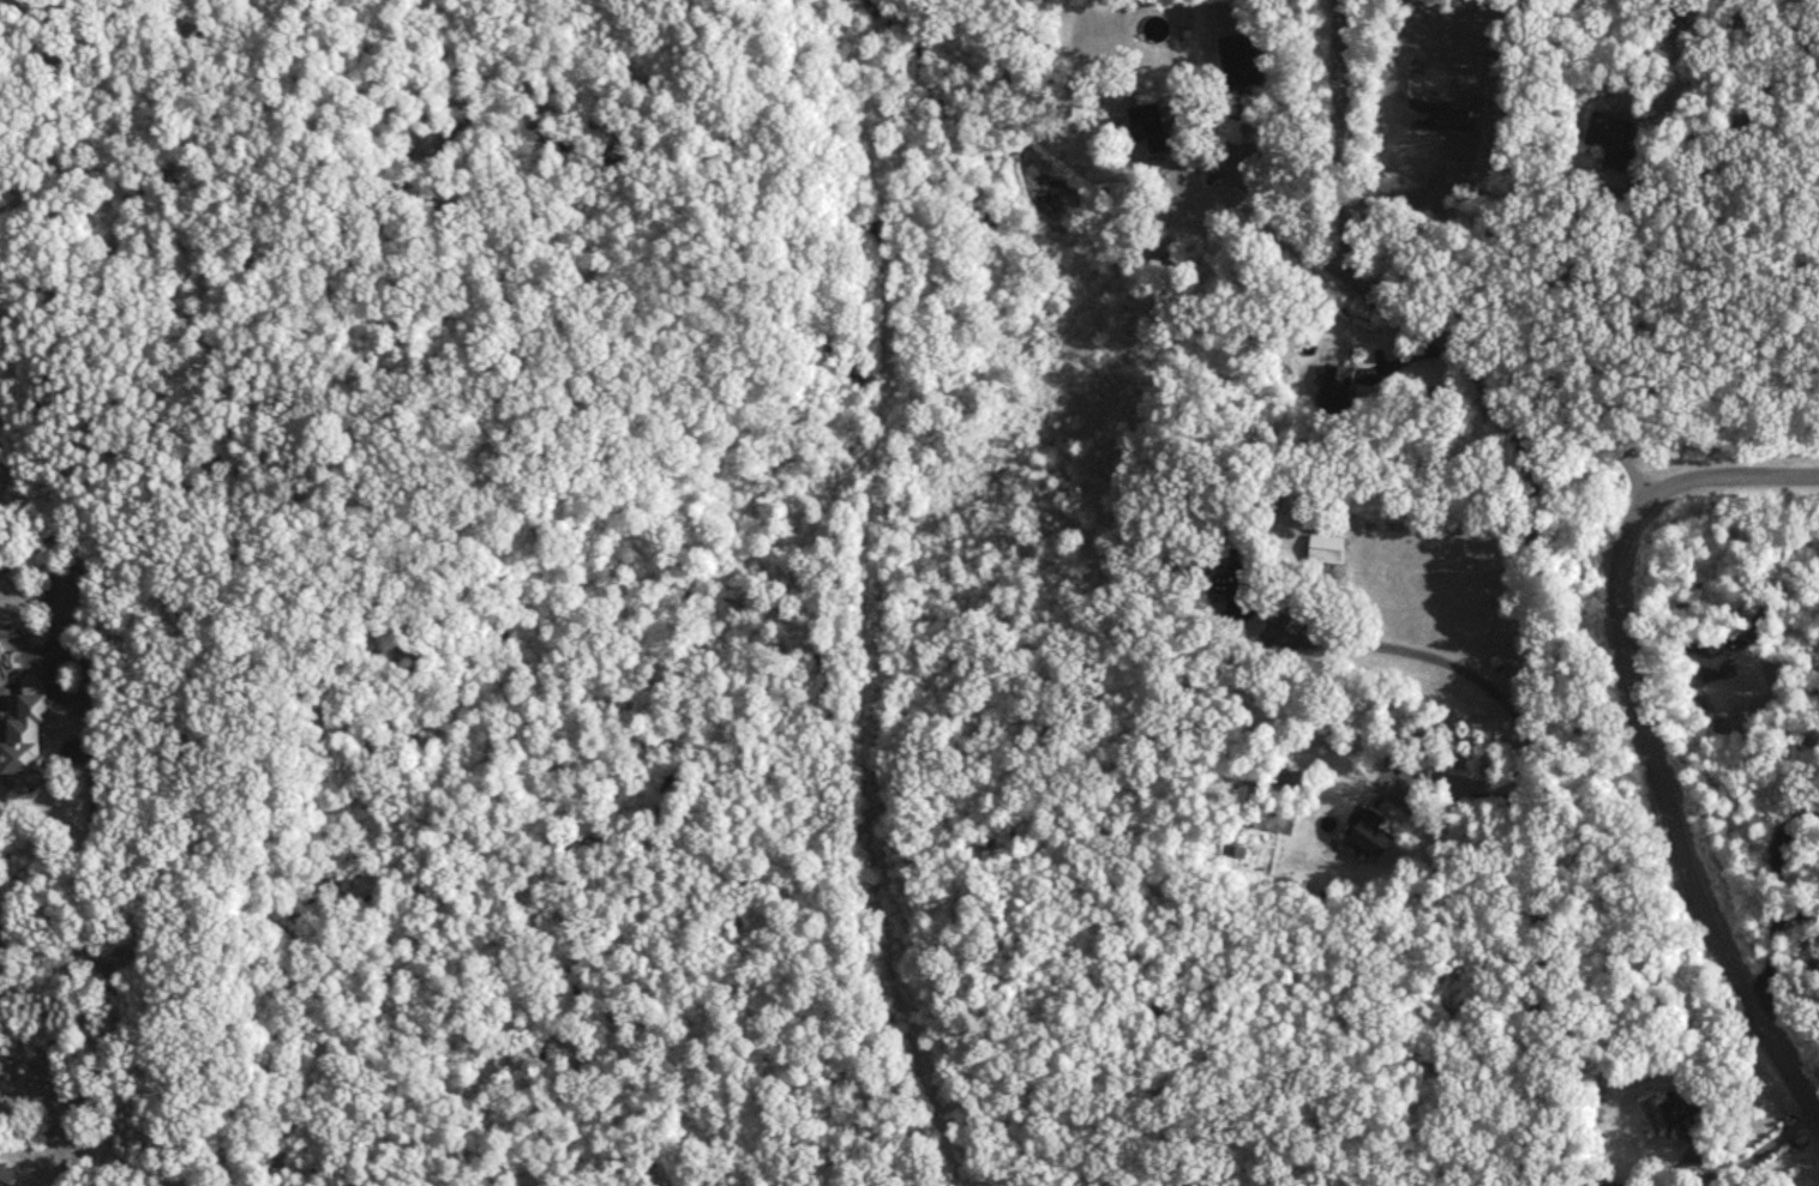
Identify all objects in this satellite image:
building: (1237, 60)
building: (1146, 127)
road: (1341, 137)
building: (1610, 139)
road: (1545, 357)
building: (1333, 390)
building: (1327, 549)
building: (1230, 590)
building: (16, 604)
road: (1542, 615)
road: (1369, 643)
road: (1650, 738)
building: (30, 746)
road: (1455, 783)
road: (85, 889)
road: (1776, 905)
road: (43, 931)
building: (1673, 1112)
road: (1765, 1148)
building: (10, 1176)

